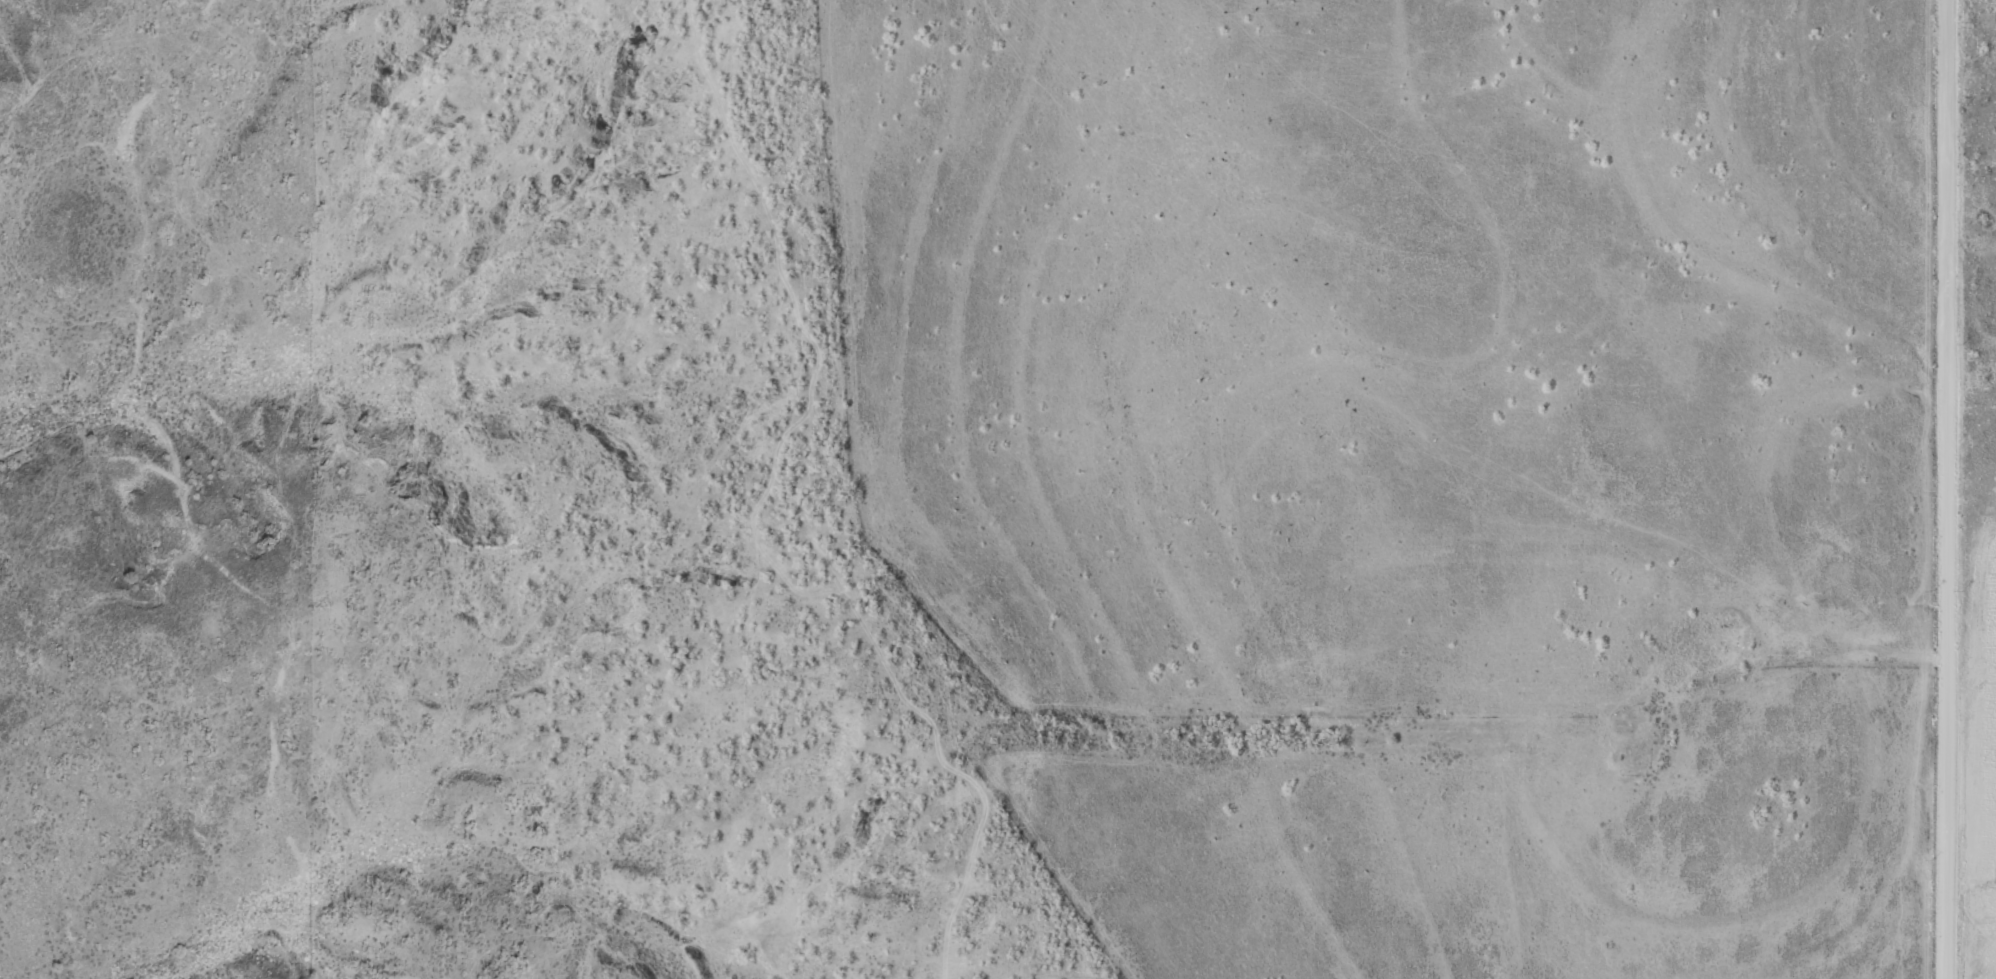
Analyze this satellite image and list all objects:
road: (1947, 489)

